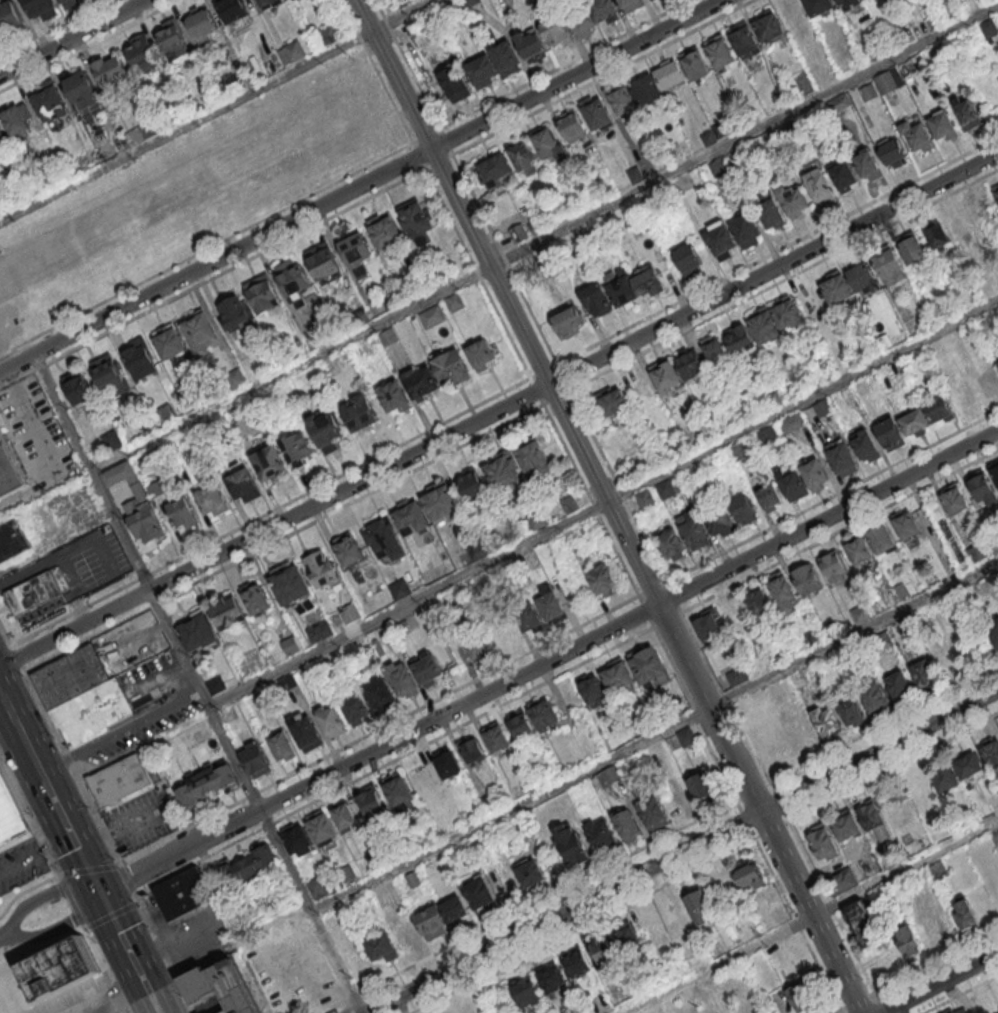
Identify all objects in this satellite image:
building: (69, 2)
building: (470, 2)
building: (269, 3)
building: (847, 3)
building: (630, 4)
building: (818, 6)
building: (40, 8)
building: (233, 9)
building: (605, 10)
building: (793, 14)
building: (9, 19)
building: (201, 20)
building: (582, 22)
building: (767, 25)
building: (555, 31)
building: (328, 34)
road: (73, 37)
building: (172, 38)
building: (743, 39)
building: (529, 43)
road: (90, 46)
building: (291, 51)
building: (719, 52)
building: (141, 53)
building: (694, 63)
building: (493, 65)
building: (111, 70)
road: (377, 72)
building: (888, 80)
building: (454, 84)
building: (647, 87)
building: (81, 89)
building: (49, 103)
road: (214, 110)
building: (596, 111)
building: (965, 111)
building: (17, 120)
building: (572, 125)
building: (942, 125)
building: (1, 134)
building: (917, 137)
building: (548, 143)
building: (892, 152)
building: (521, 156)
building: (867, 164)
building: (495, 170)
building: (844, 175)
road: (360, 184)
building: (818, 186)
building: (995, 190)
building: (793, 199)
building: (769, 210)
building: (982, 211)
building: (416, 220)
building: (746, 229)
building: (384, 230)
building: (518, 232)
building: (937, 235)
road: (544, 237)
building: (720, 240)
building: (912, 249)
road: (206, 250)
building: (357, 253)
building: (687, 258)
building: (324, 263)
building: (889, 266)
road: (213, 278)
building: (863, 278)
building: (294, 281)
building: (836, 286)
building: (621, 289)
building: (262, 292)
road: (510, 301)
building: (235, 314)
building: (432, 316)
building: (774, 319)
building: (568, 321)
parking lot: (13, 323)
building: (199, 332)
building: (738, 338)
building: (169, 341)
building: (714, 349)
building: (483, 353)
building: (140, 357)
building: (689, 362)
building: (997, 362)
building: (451, 366)
building: (110, 373)
building: (665, 374)
building: (421, 382)
building: (987, 382)
building: (78, 386)
building: (963, 395)
building: (394, 396)
building: (612, 401)
building: (937, 407)
road: (498, 408)
building: (359, 412)
building: (792, 422)
building: (915, 422)
building: (327, 429)
building: (889, 432)
parking lot: (34, 440)
building: (864, 445)
building: (298, 447)
road: (44, 451)
building: (536, 457)
building: (841, 458)
building: (270, 462)
building: (9, 470)
building: (994, 470)
building: (503, 471)
building: (804, 478)
building: (980, 484)
building: (243, 485)
building: (472, 485)
building: (665, 489)
building: (770, 497)
building: (645, 499)
building: (953, 499)
building: (212, 500)
building: (440, 501)
road: (602, 502)
building: (138, 507)
building: (743, 509)
building: (183, 514)
road: (829, 515)
building: (410, 517)
building: (719, 521)
building: (906, 525)
building: (693, 529)
building: (384, 539)
building: (12, 540)
building: (880, 540)
building: (670, 544)
building: (348, 548)
building: (859, 551)
building: (833, 567)
building: (323, 569)
building: (603, 579)
building: (806, 579)
building: (290, 583)
building: (399, 588)
building: (33, 592)
building: (783, 592)
building: (757, 600)
building: (551, 604)
building: (227, 612)
building: (732, 612)
building: (349, 613)
building: (529, 616)
building: (707, 625)
building: (319, 631)
building: (992, 631)
building: (197, 632)
building: (290, 645)
building: (480, 645)
building: (948, 660)
building: (648, 667)
building: (427, 668)
building: (924, 672)
building: (735, 677)
building: (402, 678)
building: (618, 678)
road: (197, 683)
building: (899, 685)
building: (593, 689)
building: (378, 692)
building: (82, 696)
building: (874, 697)
road: (710, 707)
building: (354, 708)
building: (851, 711)
road: (11, 712)
building: (544, 714)
building: (331, 719)
building: (826, 721)
building: (521, 724)
building: (305, 730)
road: (652, 733)
building: (802, 734)
building: (685, 736)
building: (497, 739)
building: (282, 746)
road: (380, 748)
road: (880, 750)
building: (474, 751)
building: (990, 753)
road: (34, 758)
building: (255, 759)
building: (447, 763)
building: (972, 770)
building: (611, 773)
building: (119, 780)
building: (945, 780)
building: (205, 782)
building: (698, 788)
building: (399, 791)
building: (371, 801)
building: (653, 812)
building: (10, 816)
building: (344, 816)
road: (96, 818)
building: (875, 820)
parking lot: (142, 821)
building: (625, 824)
building: (845, 824)
building: (321, 826)
building: (602, 834)
road: (72, 836)
building: (296, 838)
building: (823, 840)
building: (570, 844)
road: (35, 853)
parking lot: (20, 865)
building: (247, 868)
building: (937, 869)
building: (530, 873)
traffic signals: (92, 875)
building: (747, 877)
building: (843, 880)
road: (63, 885)
traffic signals: (100, 891)
road: (25, 892)
building: (183, 893)
building: (479, 894)
road: (40, 899)
traffic signals: (107, 905)
building: (698, 906)
building: (453, 911)
road: (564, 912)
road: (809, 912)
building: (963, 913)
building: (679, 916)
road: (812, 917)
building: (431, 920)
building: (863, 924)
building: (653, 927)
road: (56, 929)
building: (404, 933)
road: (0, 938)
building: (626, 938)
road: (125, 942)
building: (907, 942)
building: (379, 945)
road: (43, 949)
building: (602, 950)
building: (575, 959)
building: (59, 968)
building: (550, 976)
building: (273, 977)
road: (938, 982)
building: (220, 986)
building: (524, 991)
building: (799, 997)
road: (155, 1003)
parking lot: (119, 1010)
building: (948, 1010)

